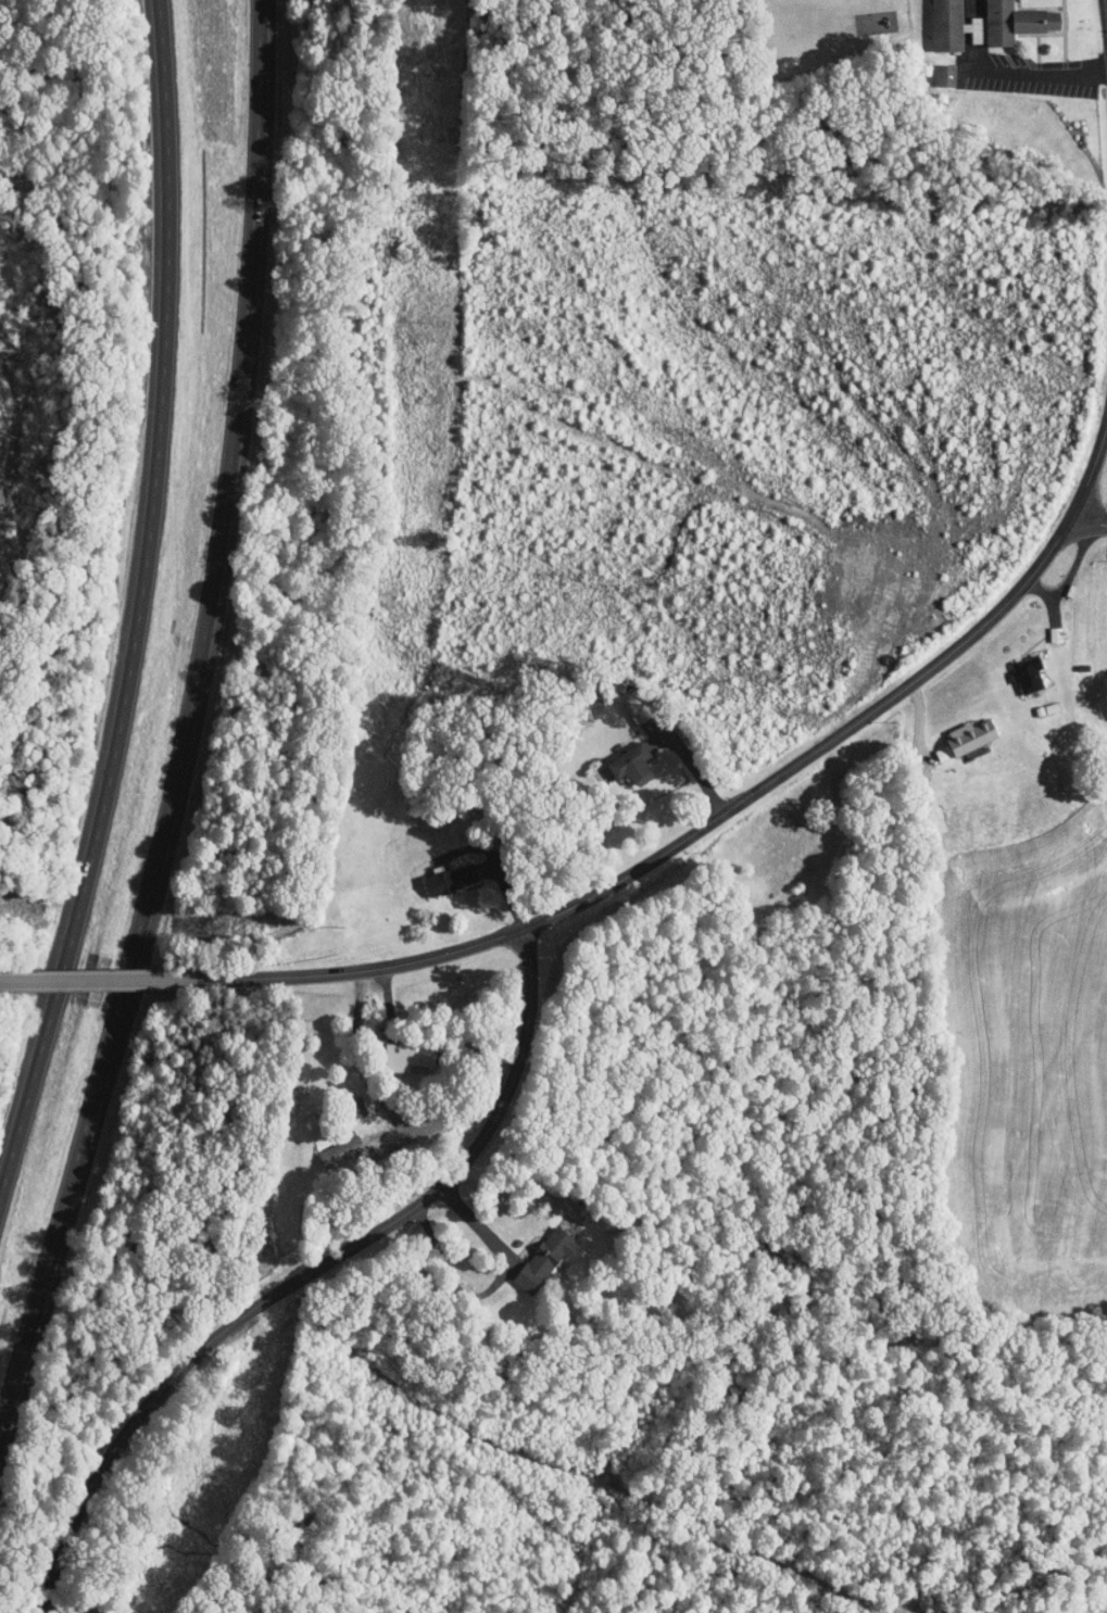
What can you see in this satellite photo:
road: (1106, 9)
building: (972, 18)
building: (930, 67)
road: (1091, 475)
road: (1089, 522)
road: (140, 609)
building: (1014, 668)
building: (952, 732)
road: (185, 744)
building: (618, 757)
road: (680, 843)
building: (431, 874)
road: (99, 979)
building: (386, 1049)
building: (340, 1101)
building: (327, 1146)
building: (530, 1253)
road: (309, 1273)
road: (492, 1287)
road: (59, 1596)

